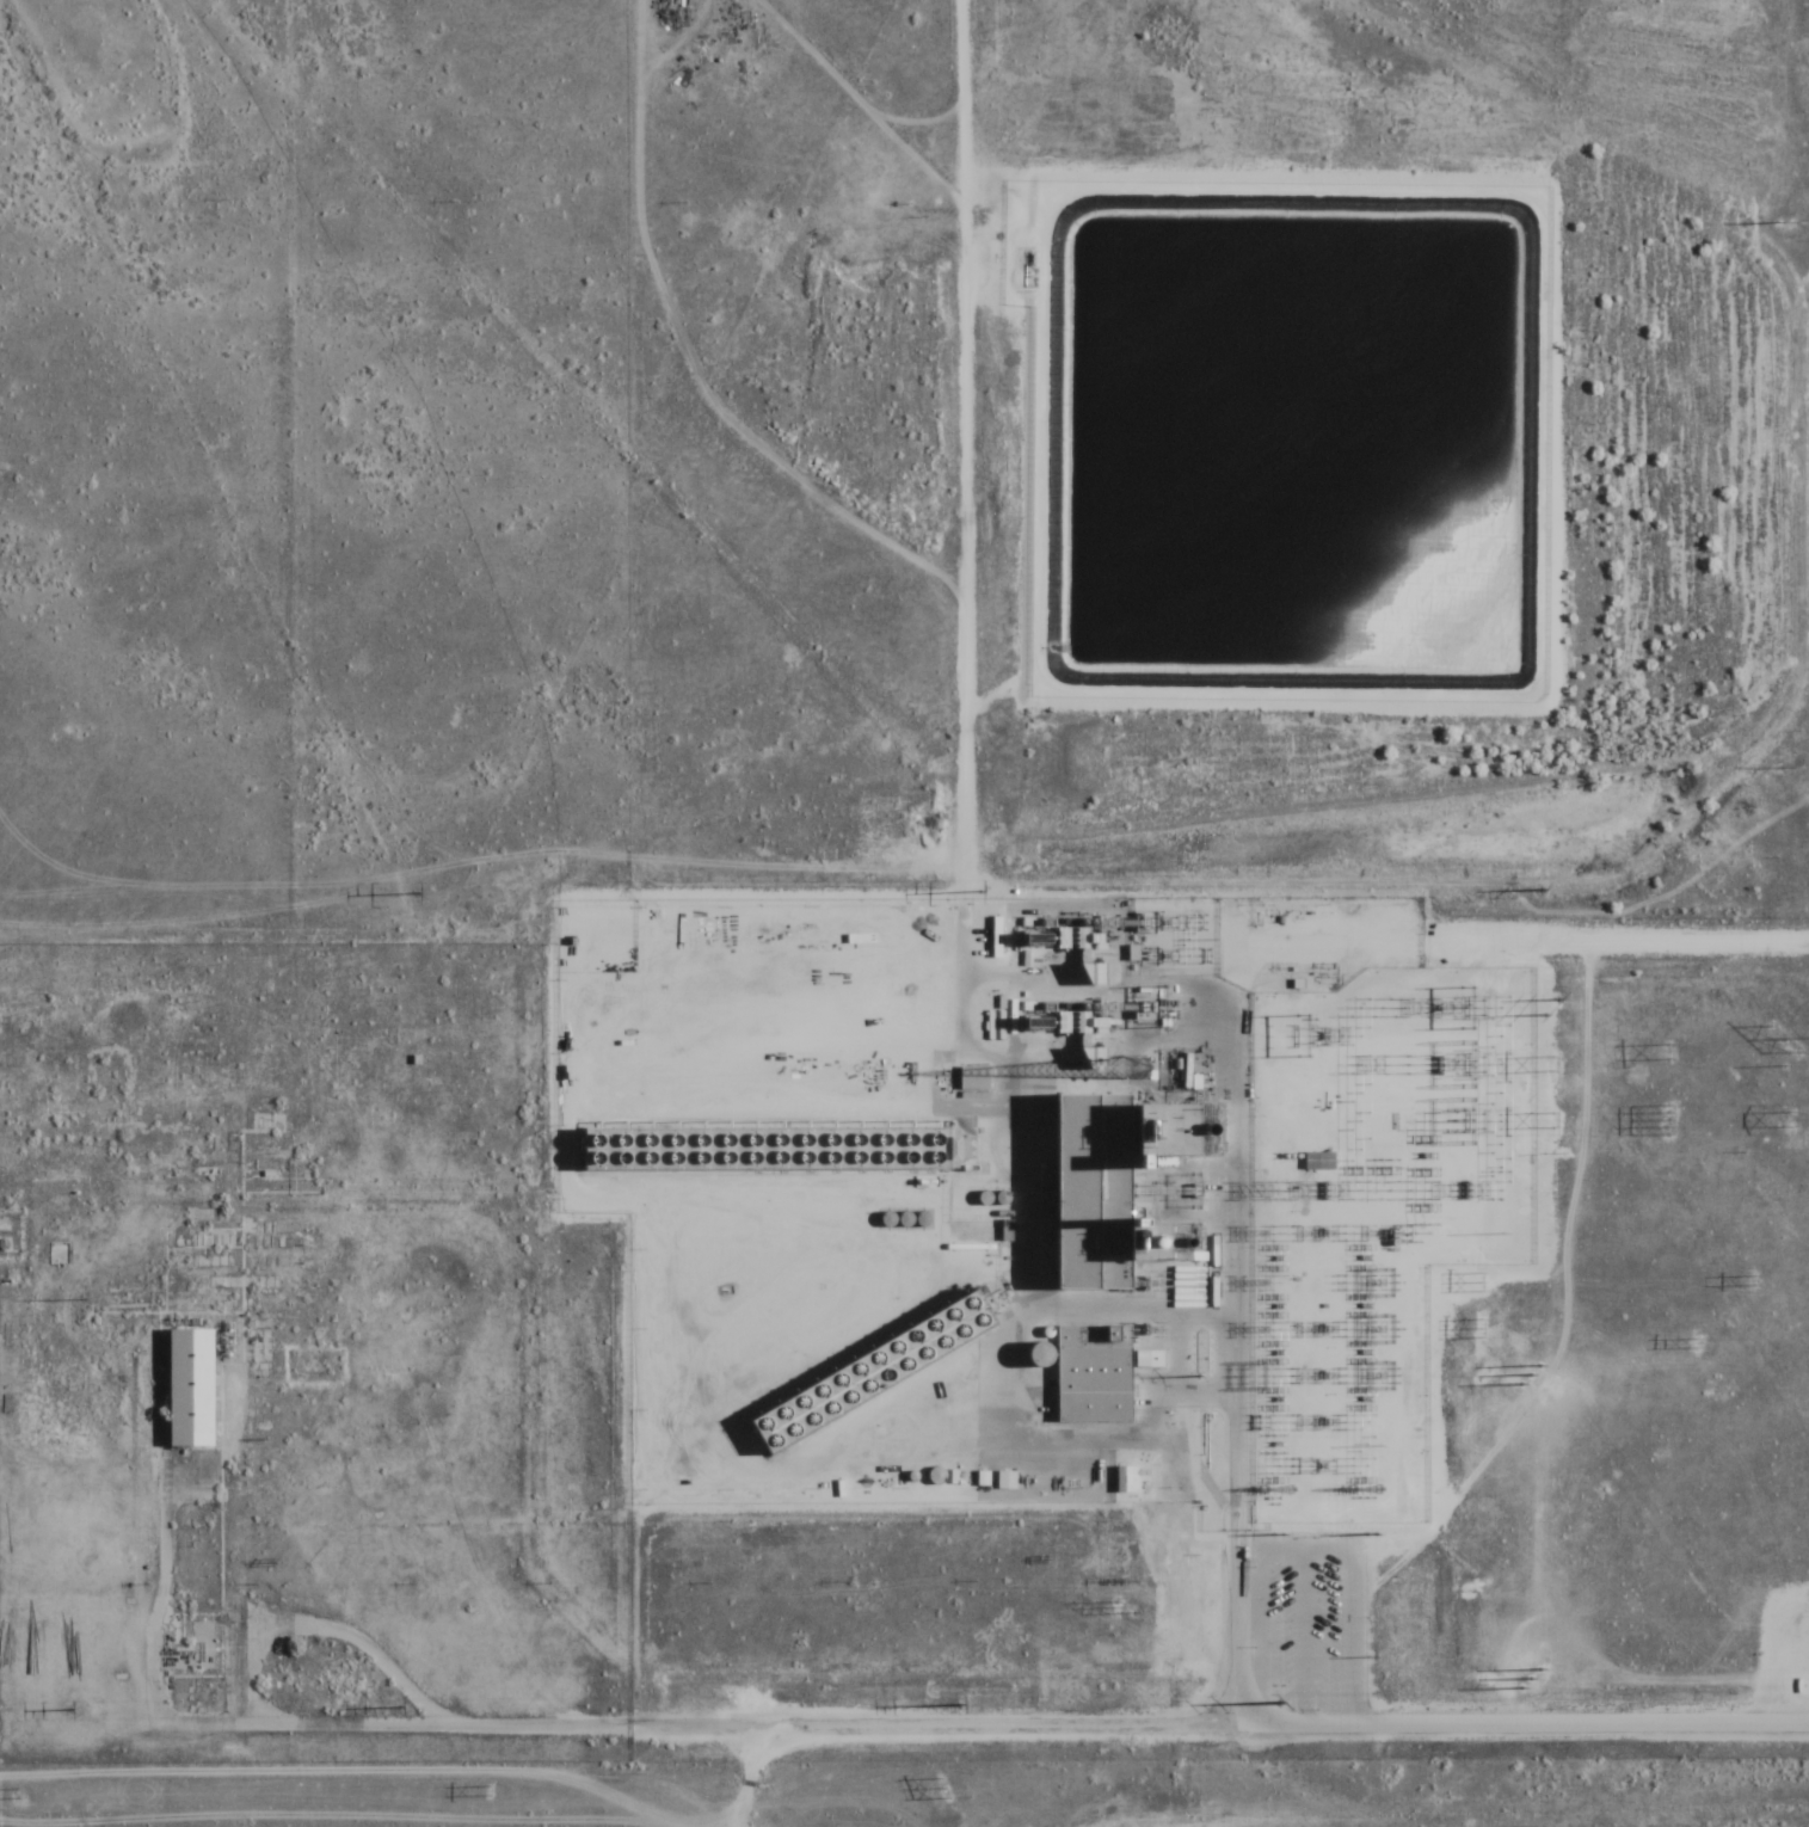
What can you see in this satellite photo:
power tower: (1782, 223)
power tower: (1783, 765)
power tower: (1539, 891)
power tower: (418, 893)
power tower: (982, 893)
road: (1614, 943)
power tower: (1552, 1009)
power tower: (1786, 1038)
power tower: (1668, 1052)
power tower: (1553, 1064)
building: (973, 1078)
power tower: (1792, 1119)
power tower: (1668, 1121)
chimney: (1195, 1126)
building: (750, 1144)
road: (1236, 1144)
building: (1319, 1161)
power plant: (1039, 1192)
power substation: (1376, 1218)
chimney: (1170, 1237)
power tower: (1754, 1281)
power tower: (1481, 1282)
power tower: (1482, 1329)
power tower: (1697, 1343)
building: (1146, 1360)
building: (861, 1367)
building: (1093, 1374)
power tower: (1482, 1376)
building: (187, 1389)
building: (1005, 1481)
building: (1122, 1481)
power tower: (1371, 1534)
power tower: (1279, 1537)
power tower: (1116, 1607)
road: (1243, 1625)
power tower: (1371, 1659)
power tower: (1483, 1679)
road: (161, 1686)
power tower: (955, 1708)
power tower: (1276, 1708)
power tower: (395, 1711)
power tower: (66, 1714)
road: (1054, 1721)
power tower: (941, 1788)
power tower: (488, 1789)
power tower: (17, 1792)

